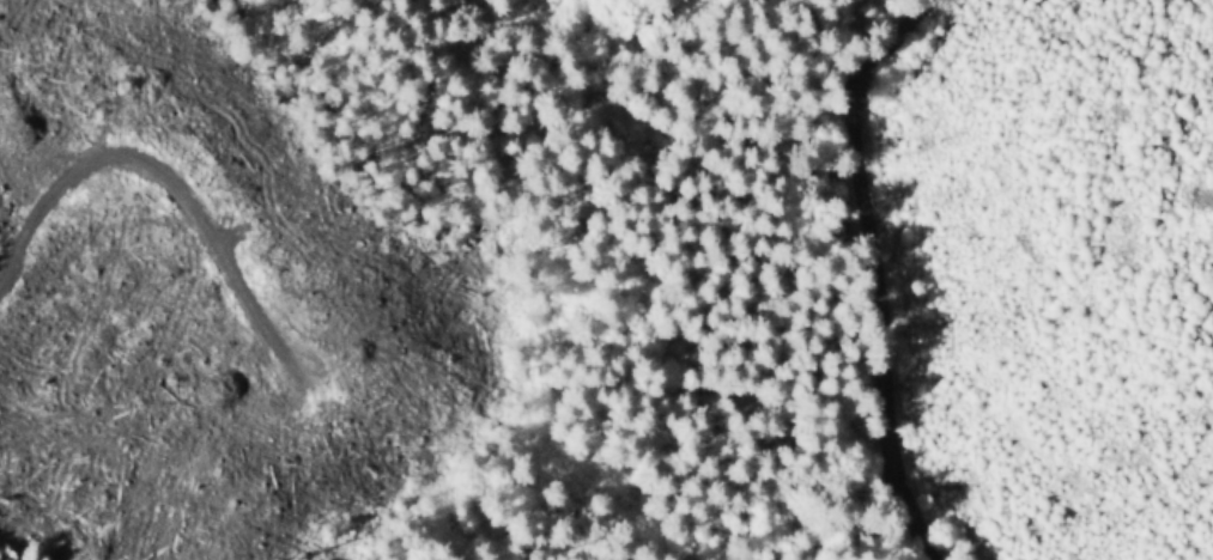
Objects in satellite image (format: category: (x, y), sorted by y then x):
road: (878, 272)

